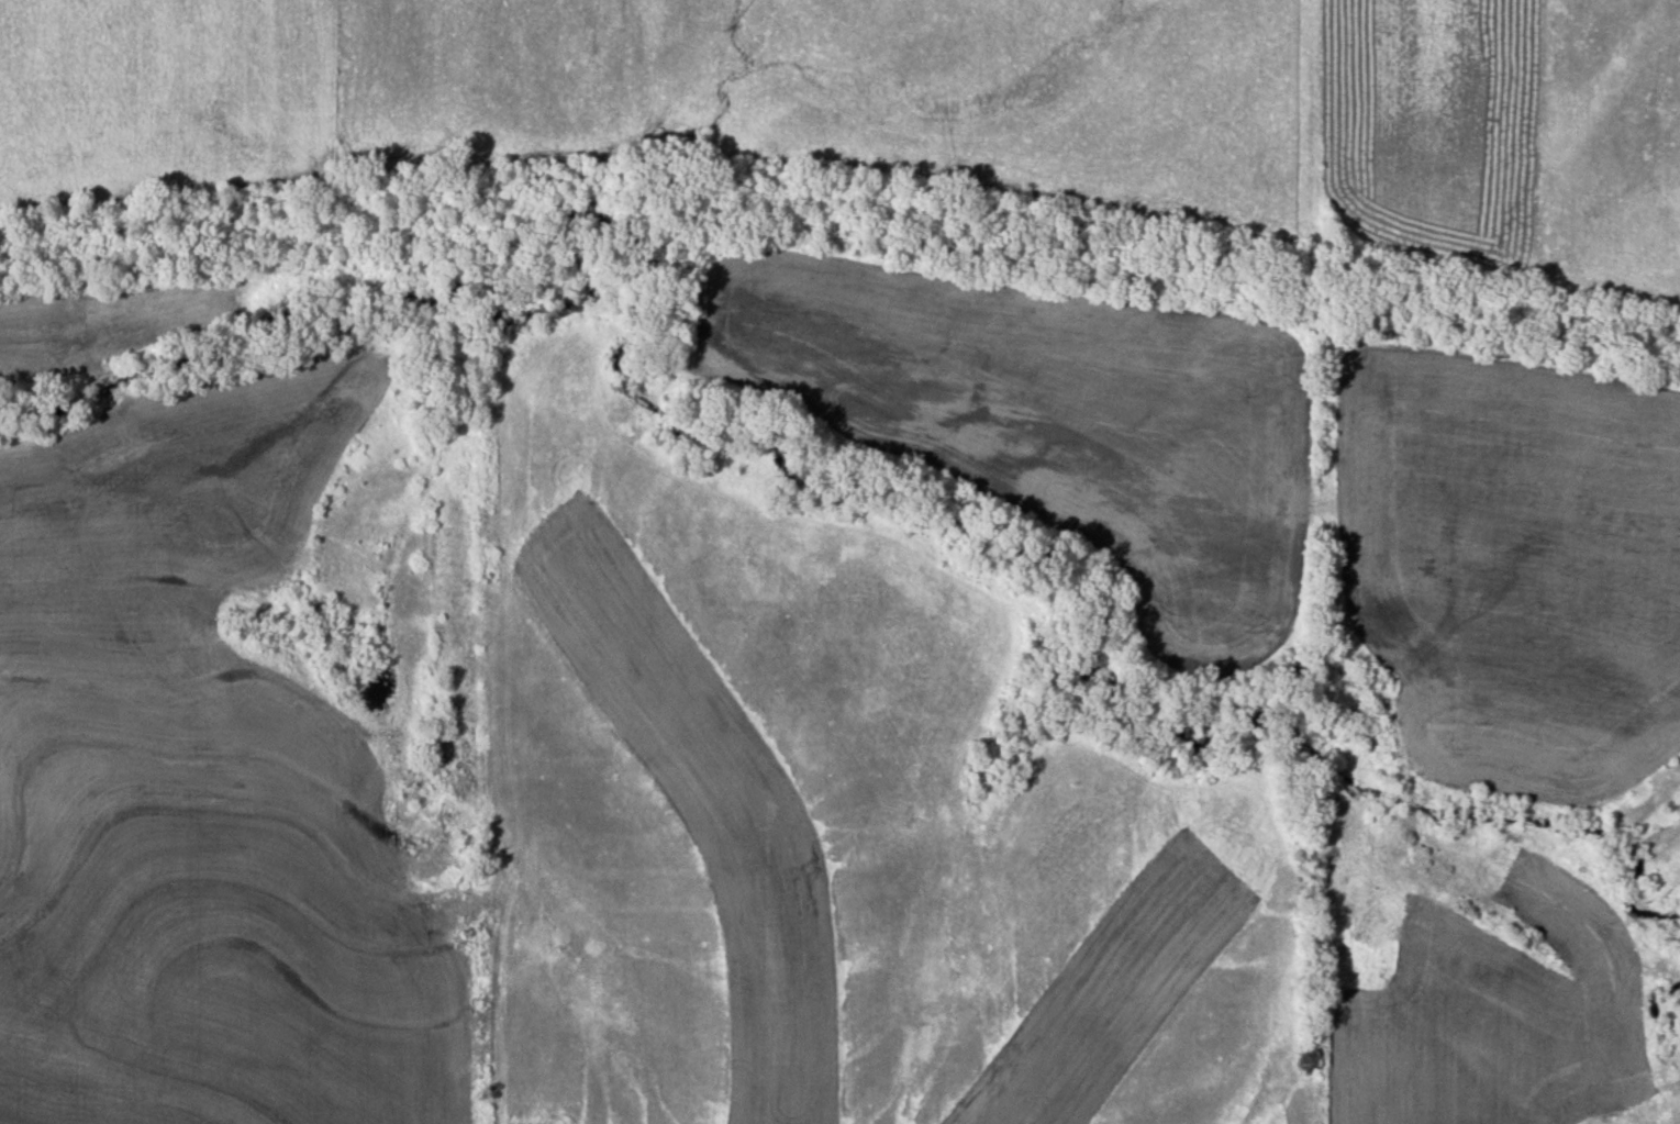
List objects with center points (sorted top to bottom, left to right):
crop: (1433, 129)

